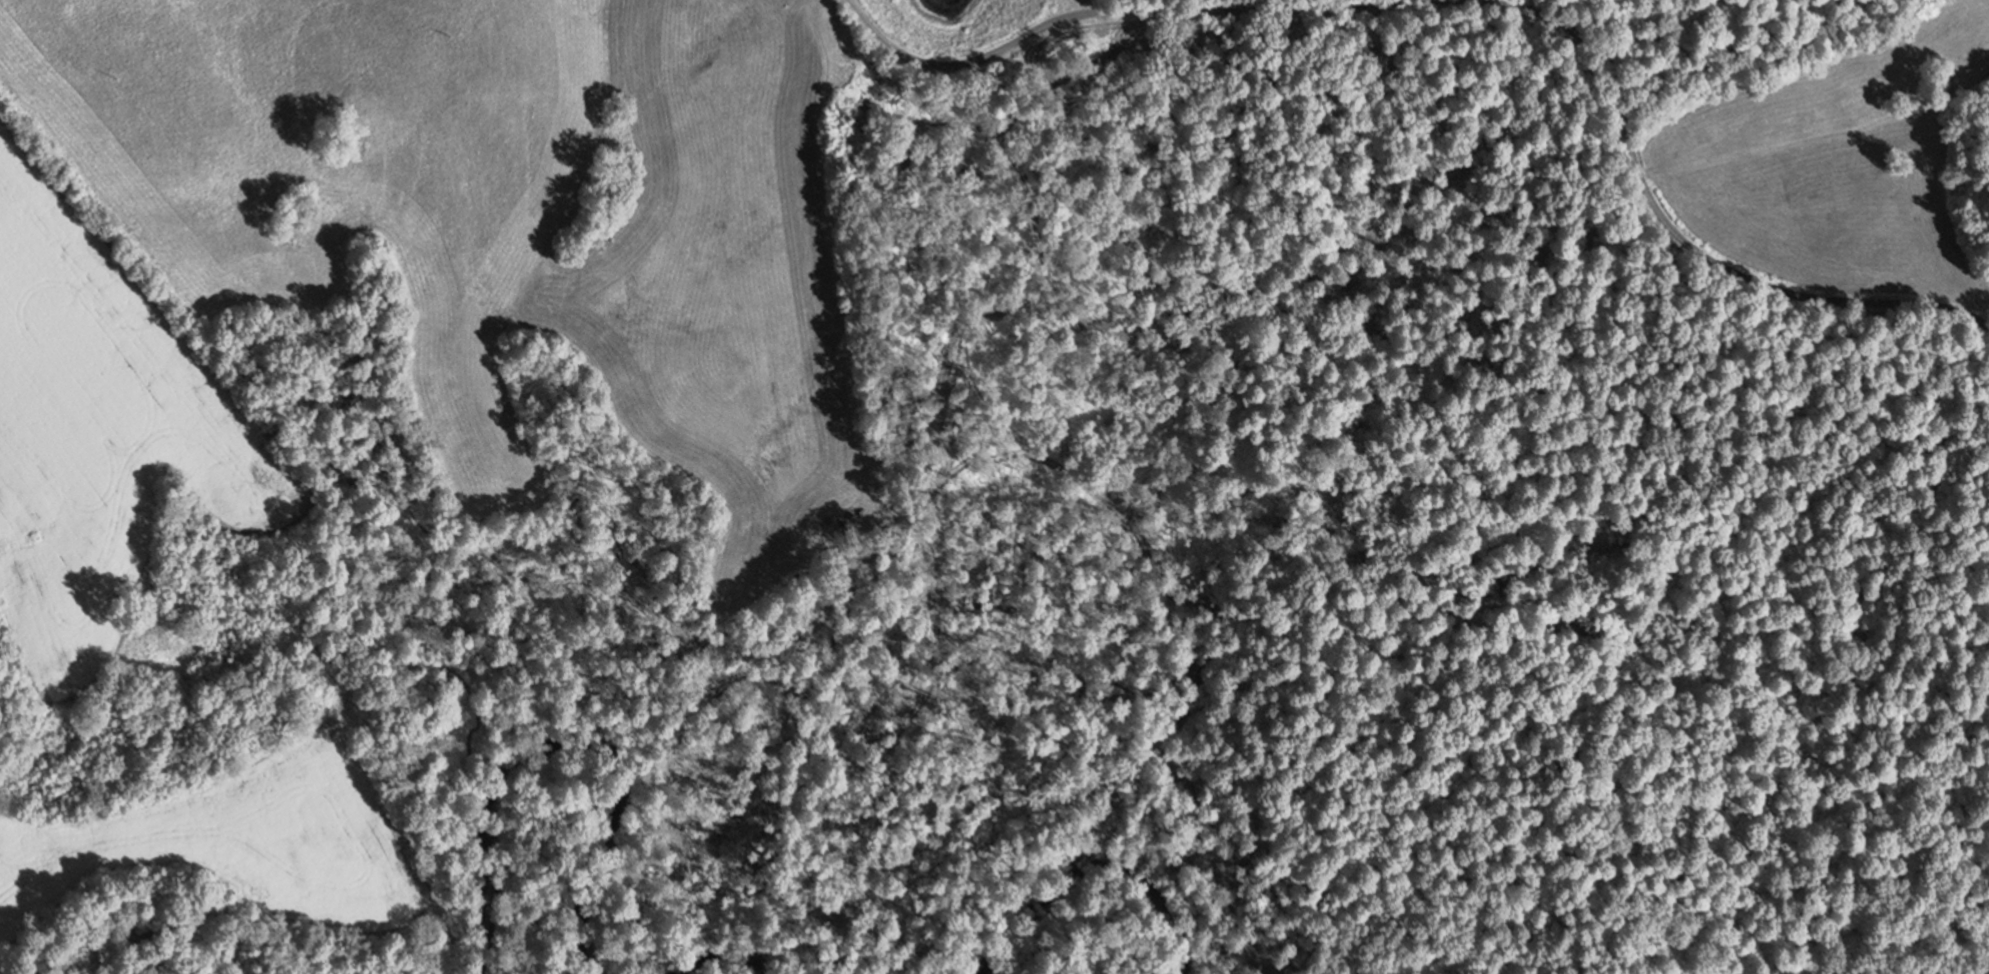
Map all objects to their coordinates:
road: (1480, 0)

